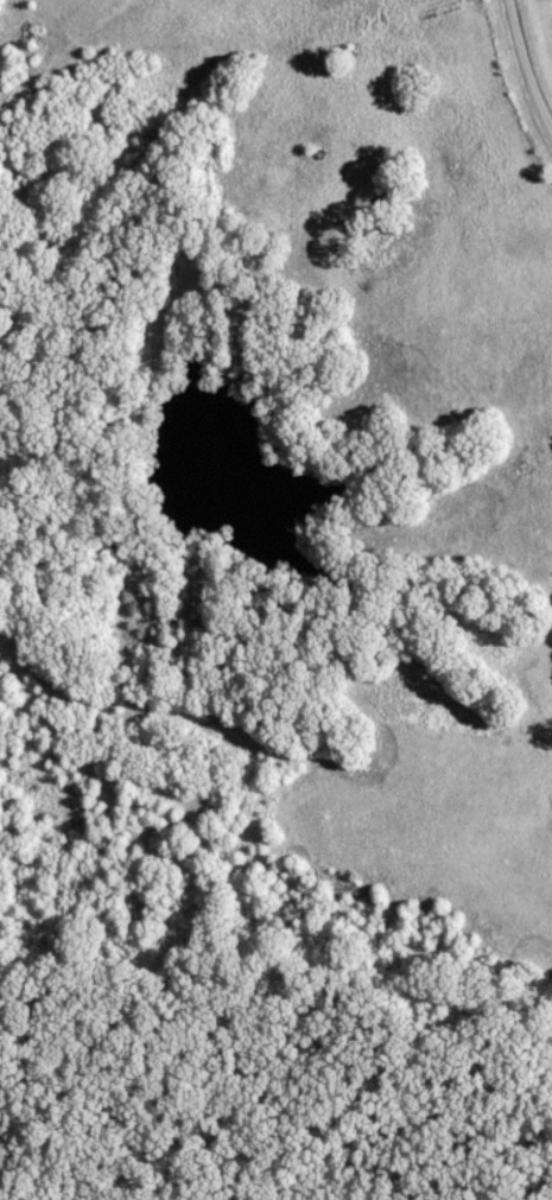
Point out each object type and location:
road: (520, 71)

